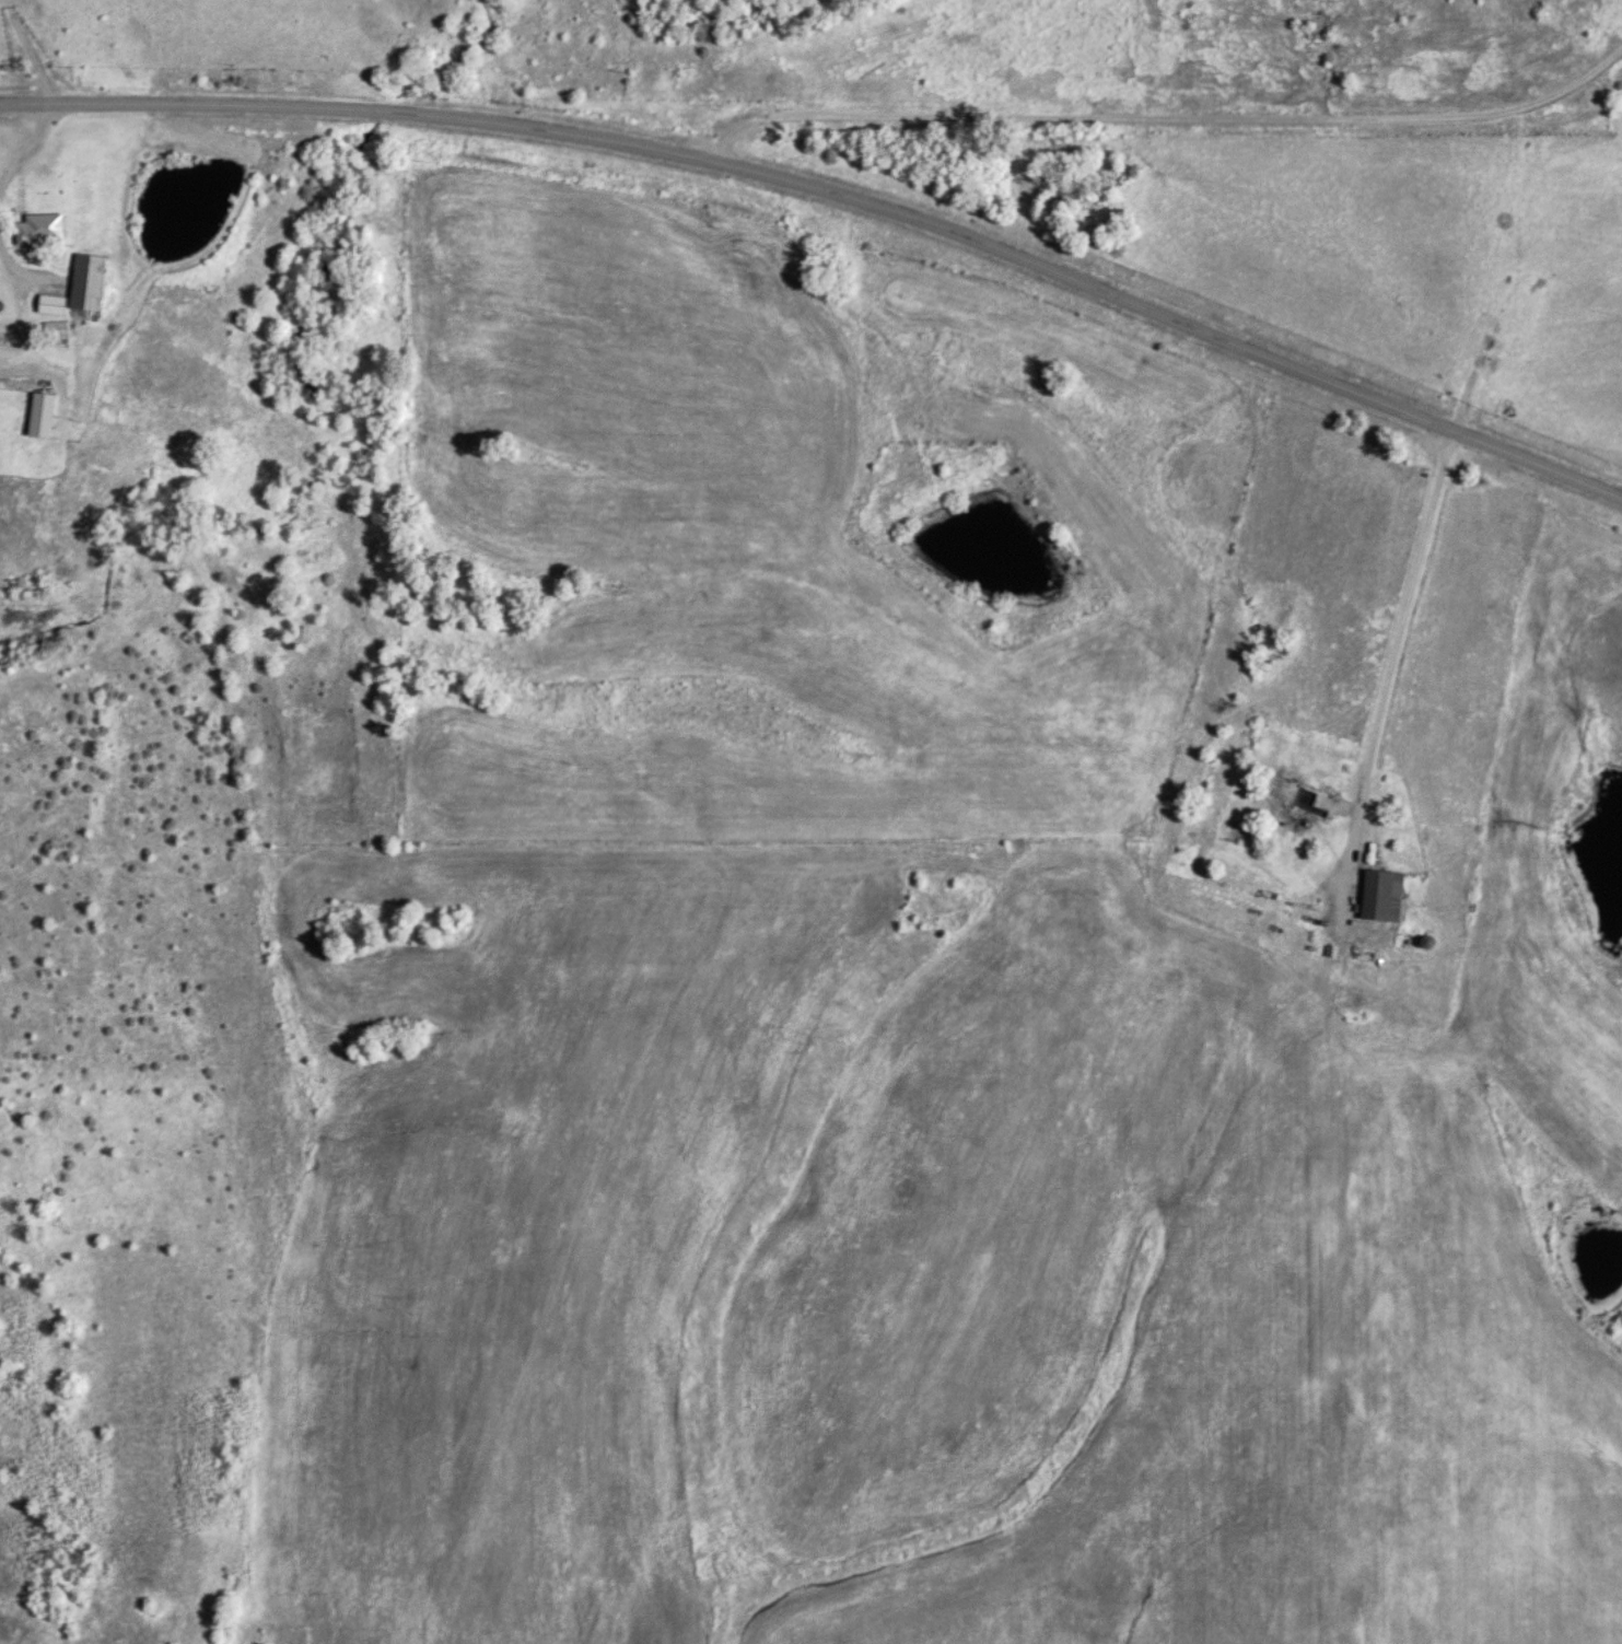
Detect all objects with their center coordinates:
road: (1281, 72)
road: (1165, 115)
road: (27, 150)
road: (837, 189)
building: (38, 229)
building: (85, 281)
building: (49, 303)
road: (20, 326)
building: (54, 331)
building: (38, 415)
road: (1379, 702)
building: (1300, 796)
building: (1380, 895)

